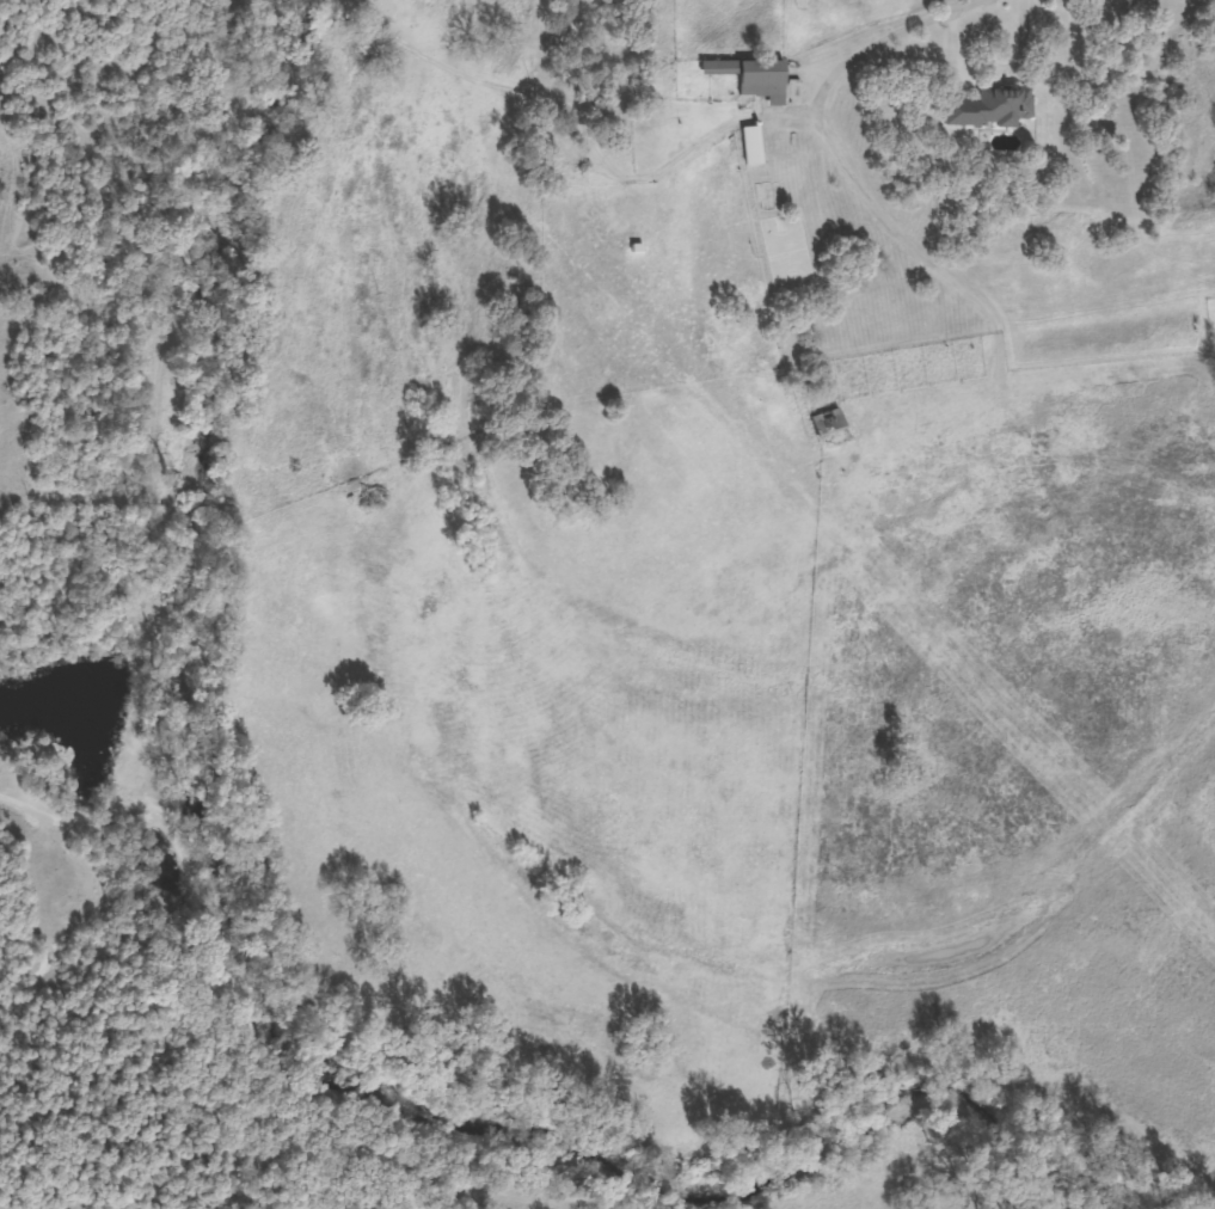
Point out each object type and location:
road: (918, 20)
building: (751, 76)
building: (992, 108)
building: (749, 145)
road: (869, 188)
building: (762, 197)
building: (826, 422)

